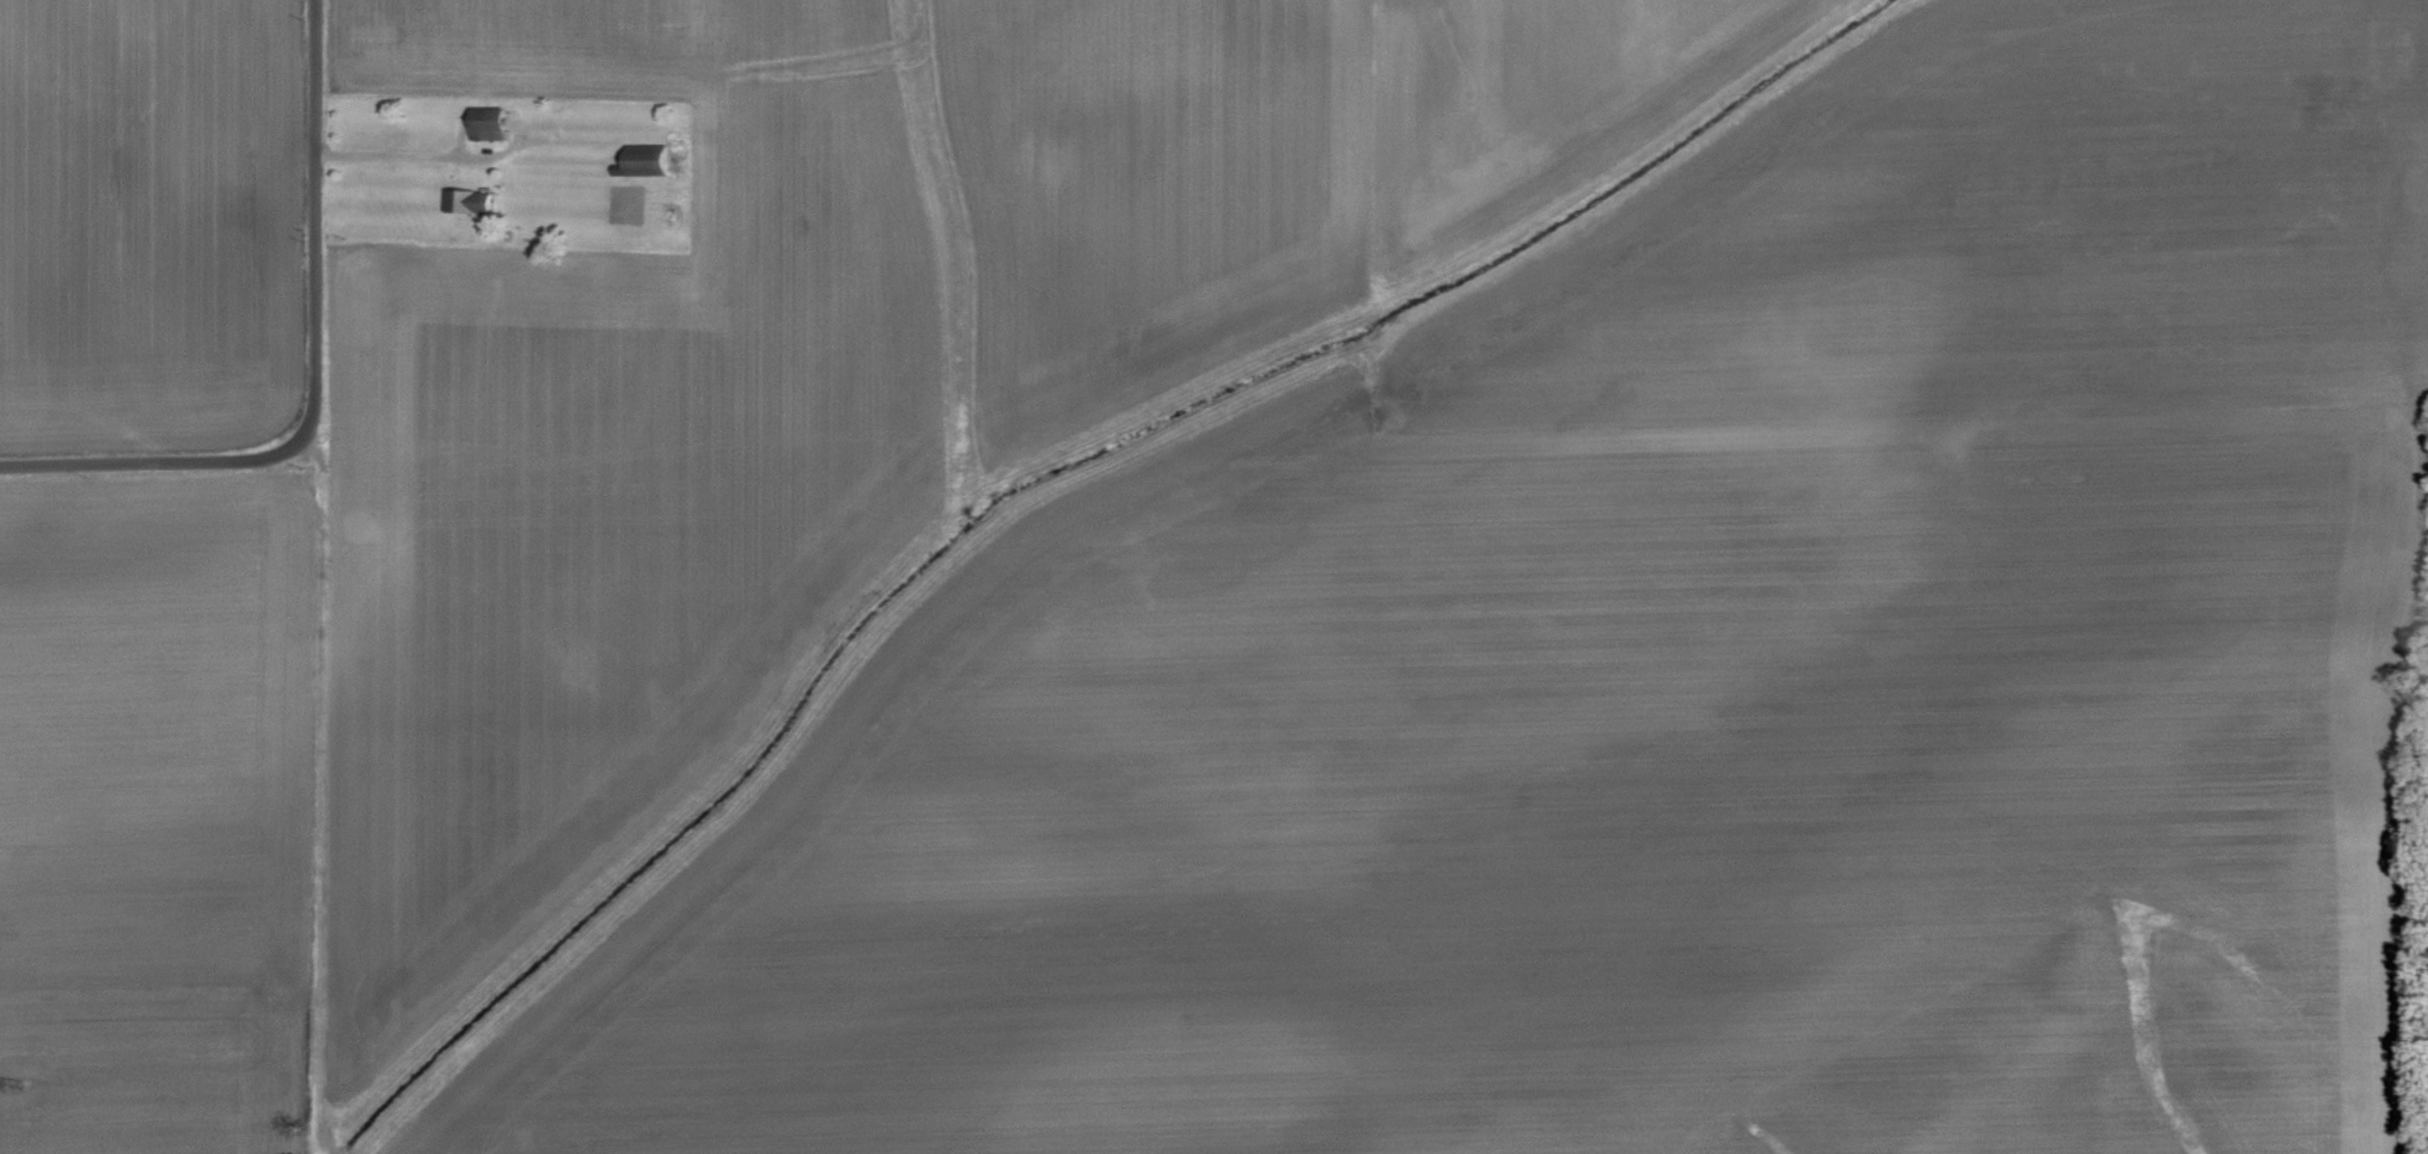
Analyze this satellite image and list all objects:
road: (396, 149)
building: (469, 201)
road: (312, 226)
road: (147, 461)
power tower: (22, 1089)

